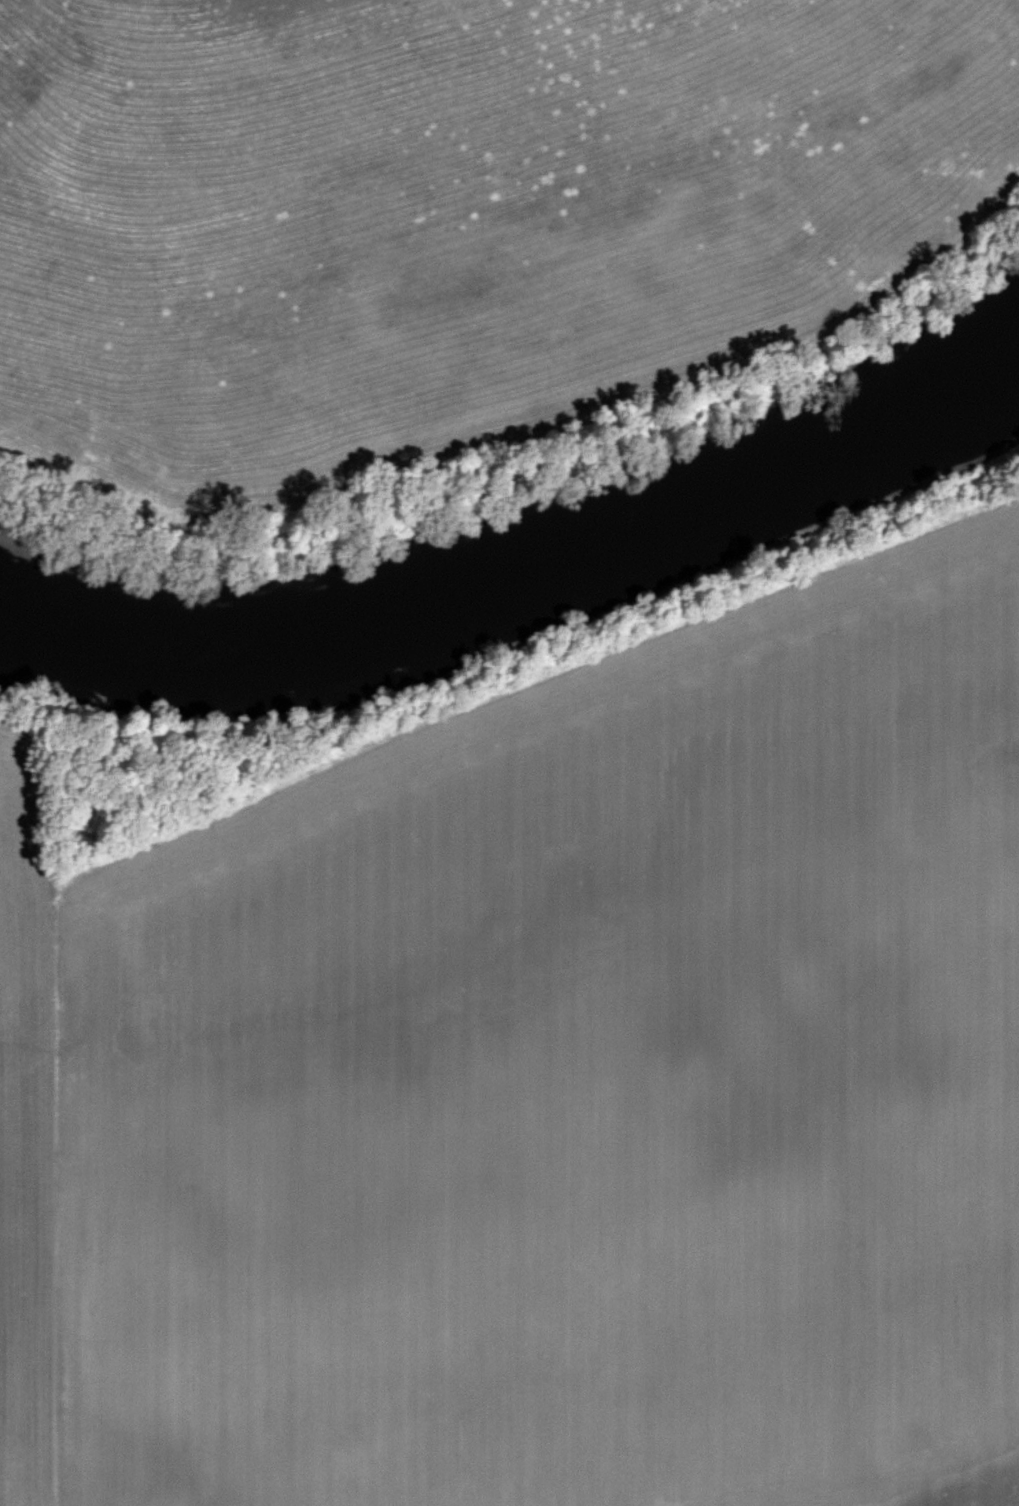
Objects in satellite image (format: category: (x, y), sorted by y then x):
crop: (459, 212)
river: (535, 566)
crop: (578, 1082)
crop: (24, 1144)

